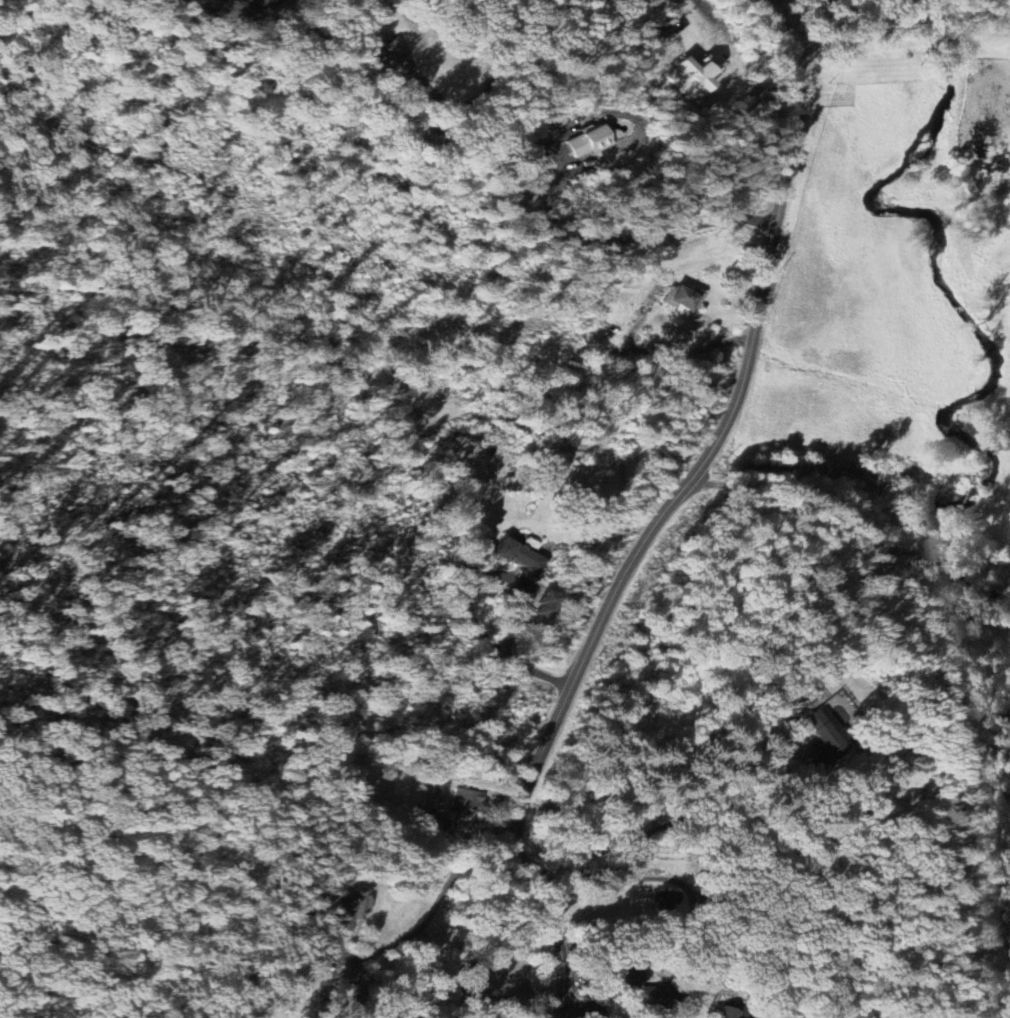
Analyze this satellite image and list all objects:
road: (776, 4)
road: (670, 11)
road: (974, 14)
road: (233, 18)
road: (925, 22)
road: (852, 35)
building: (392, 59)
building: (694, 74)
building: (590, 142)
road: (629, 238)
building: (685, 298)
road: (667, 513)
building: (524, 554)
road: (466, 598)
building: (547, 605)
building: (827, 736)
building: (466, 800)
road: (679, 819)
building: (438, 822)
road: (433, 907)
building: (350, 984)
building: (645, 989)
road: (500, 996)
road: (574, 1013)
building: (732, 1013)

